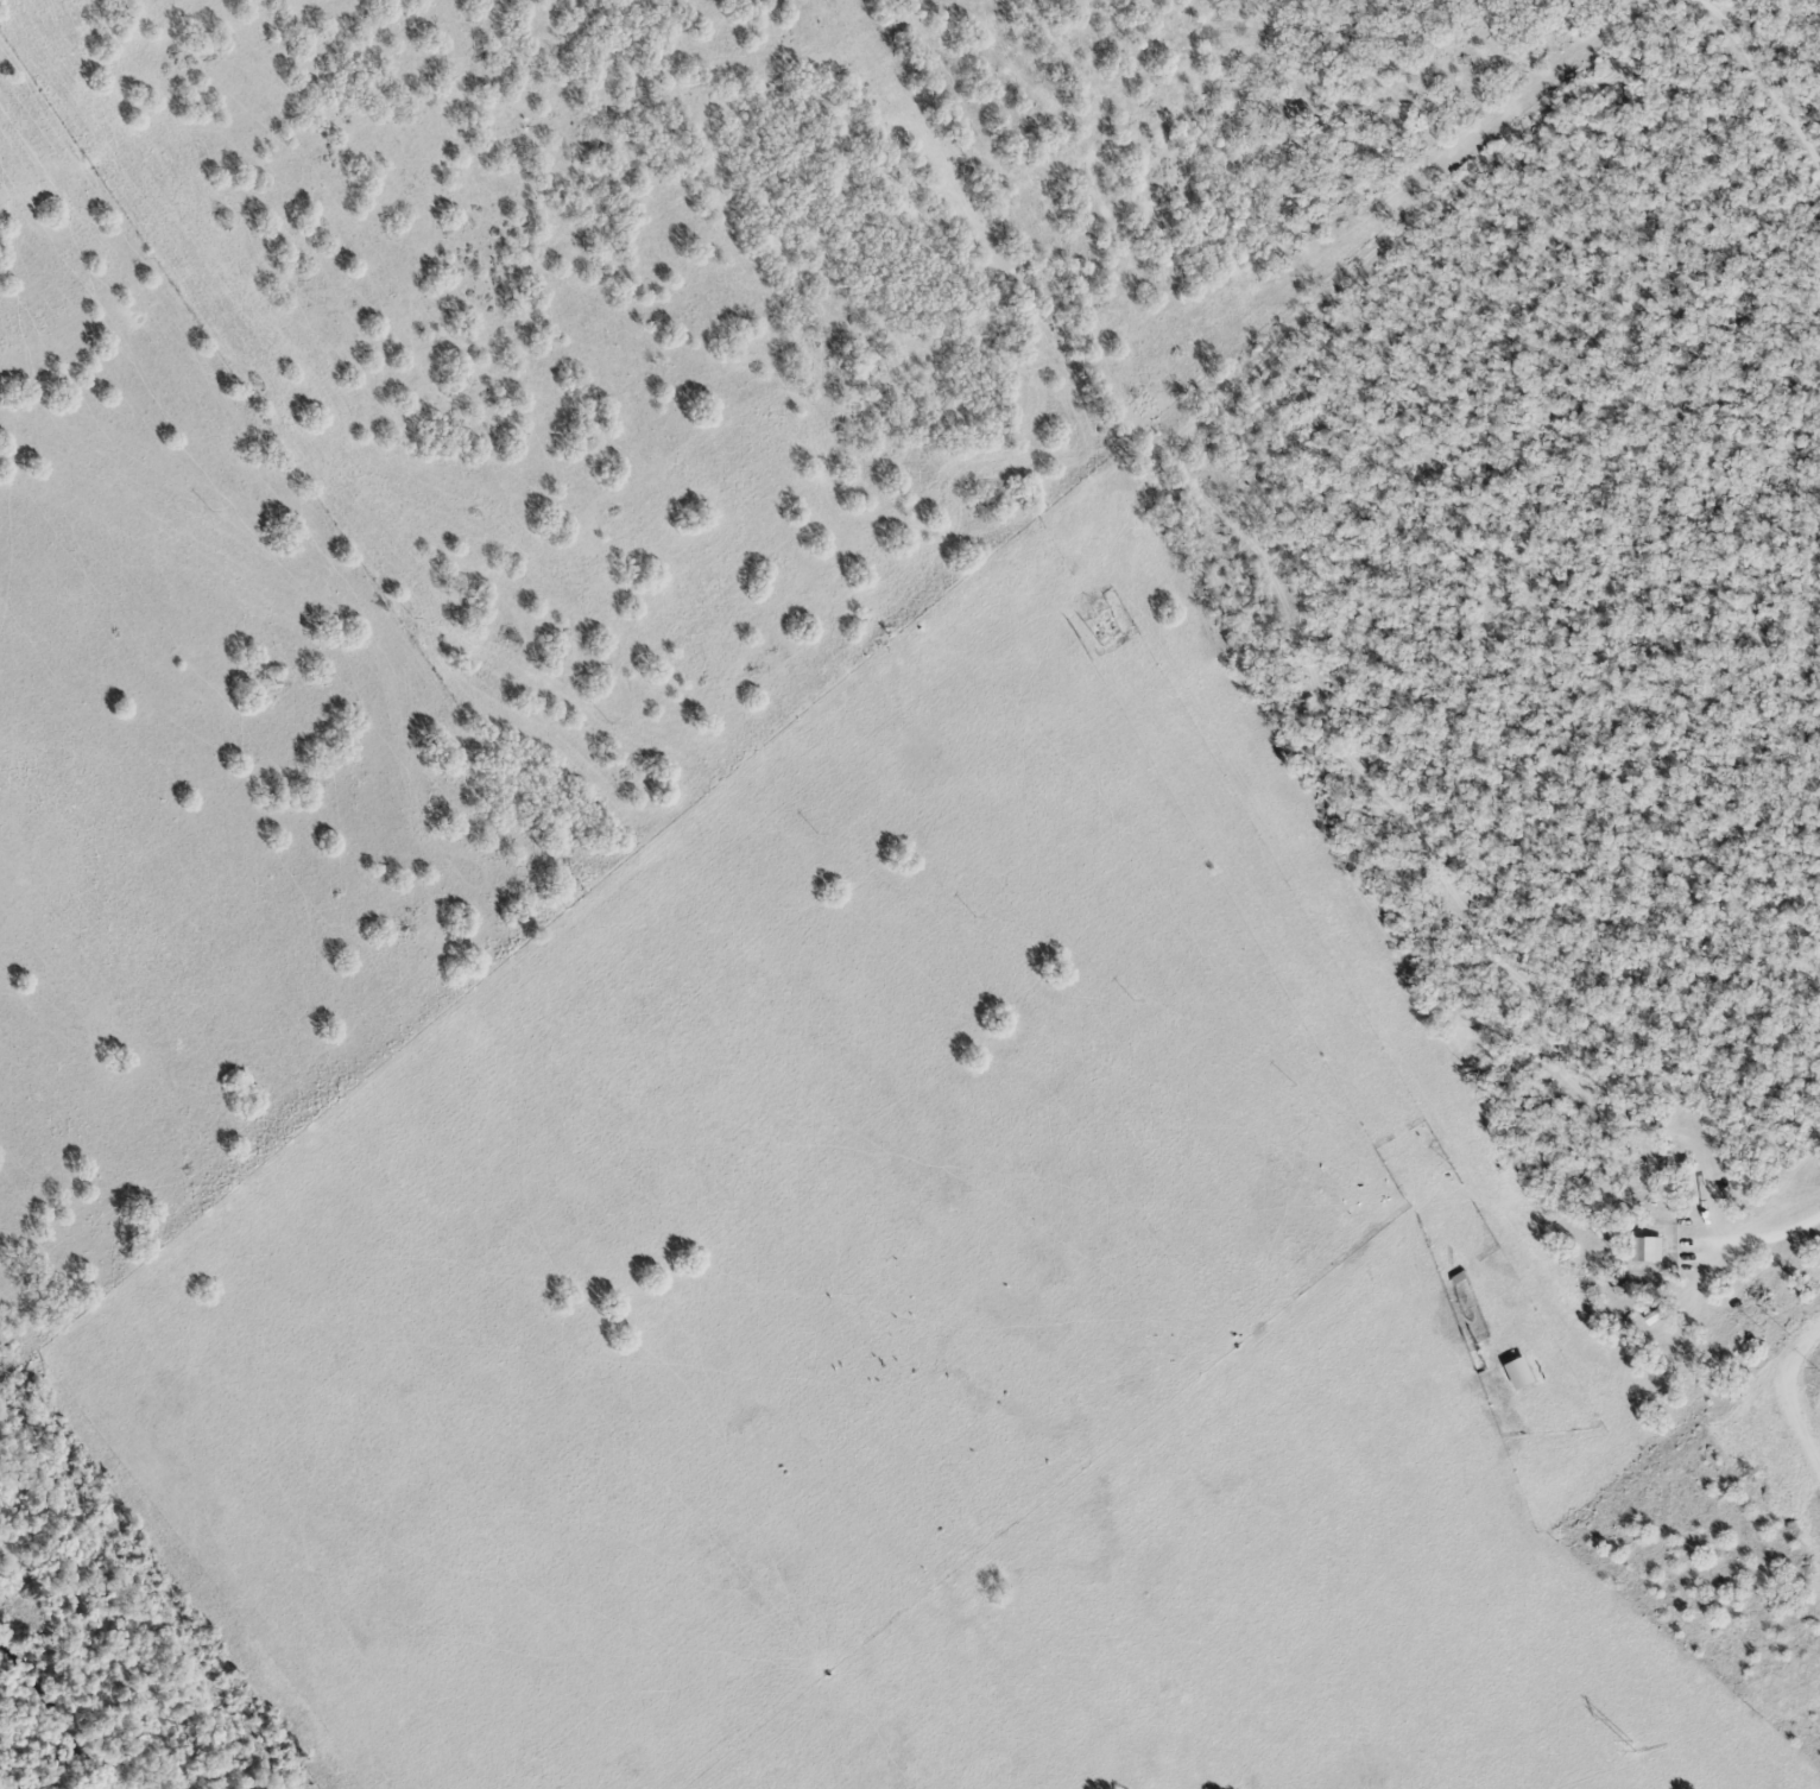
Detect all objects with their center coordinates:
road: (1767, 1235)
building: (1643, 1251)
road: (1787, 1392)
river: (49, 1714)
power tower: (1631, 1746)

